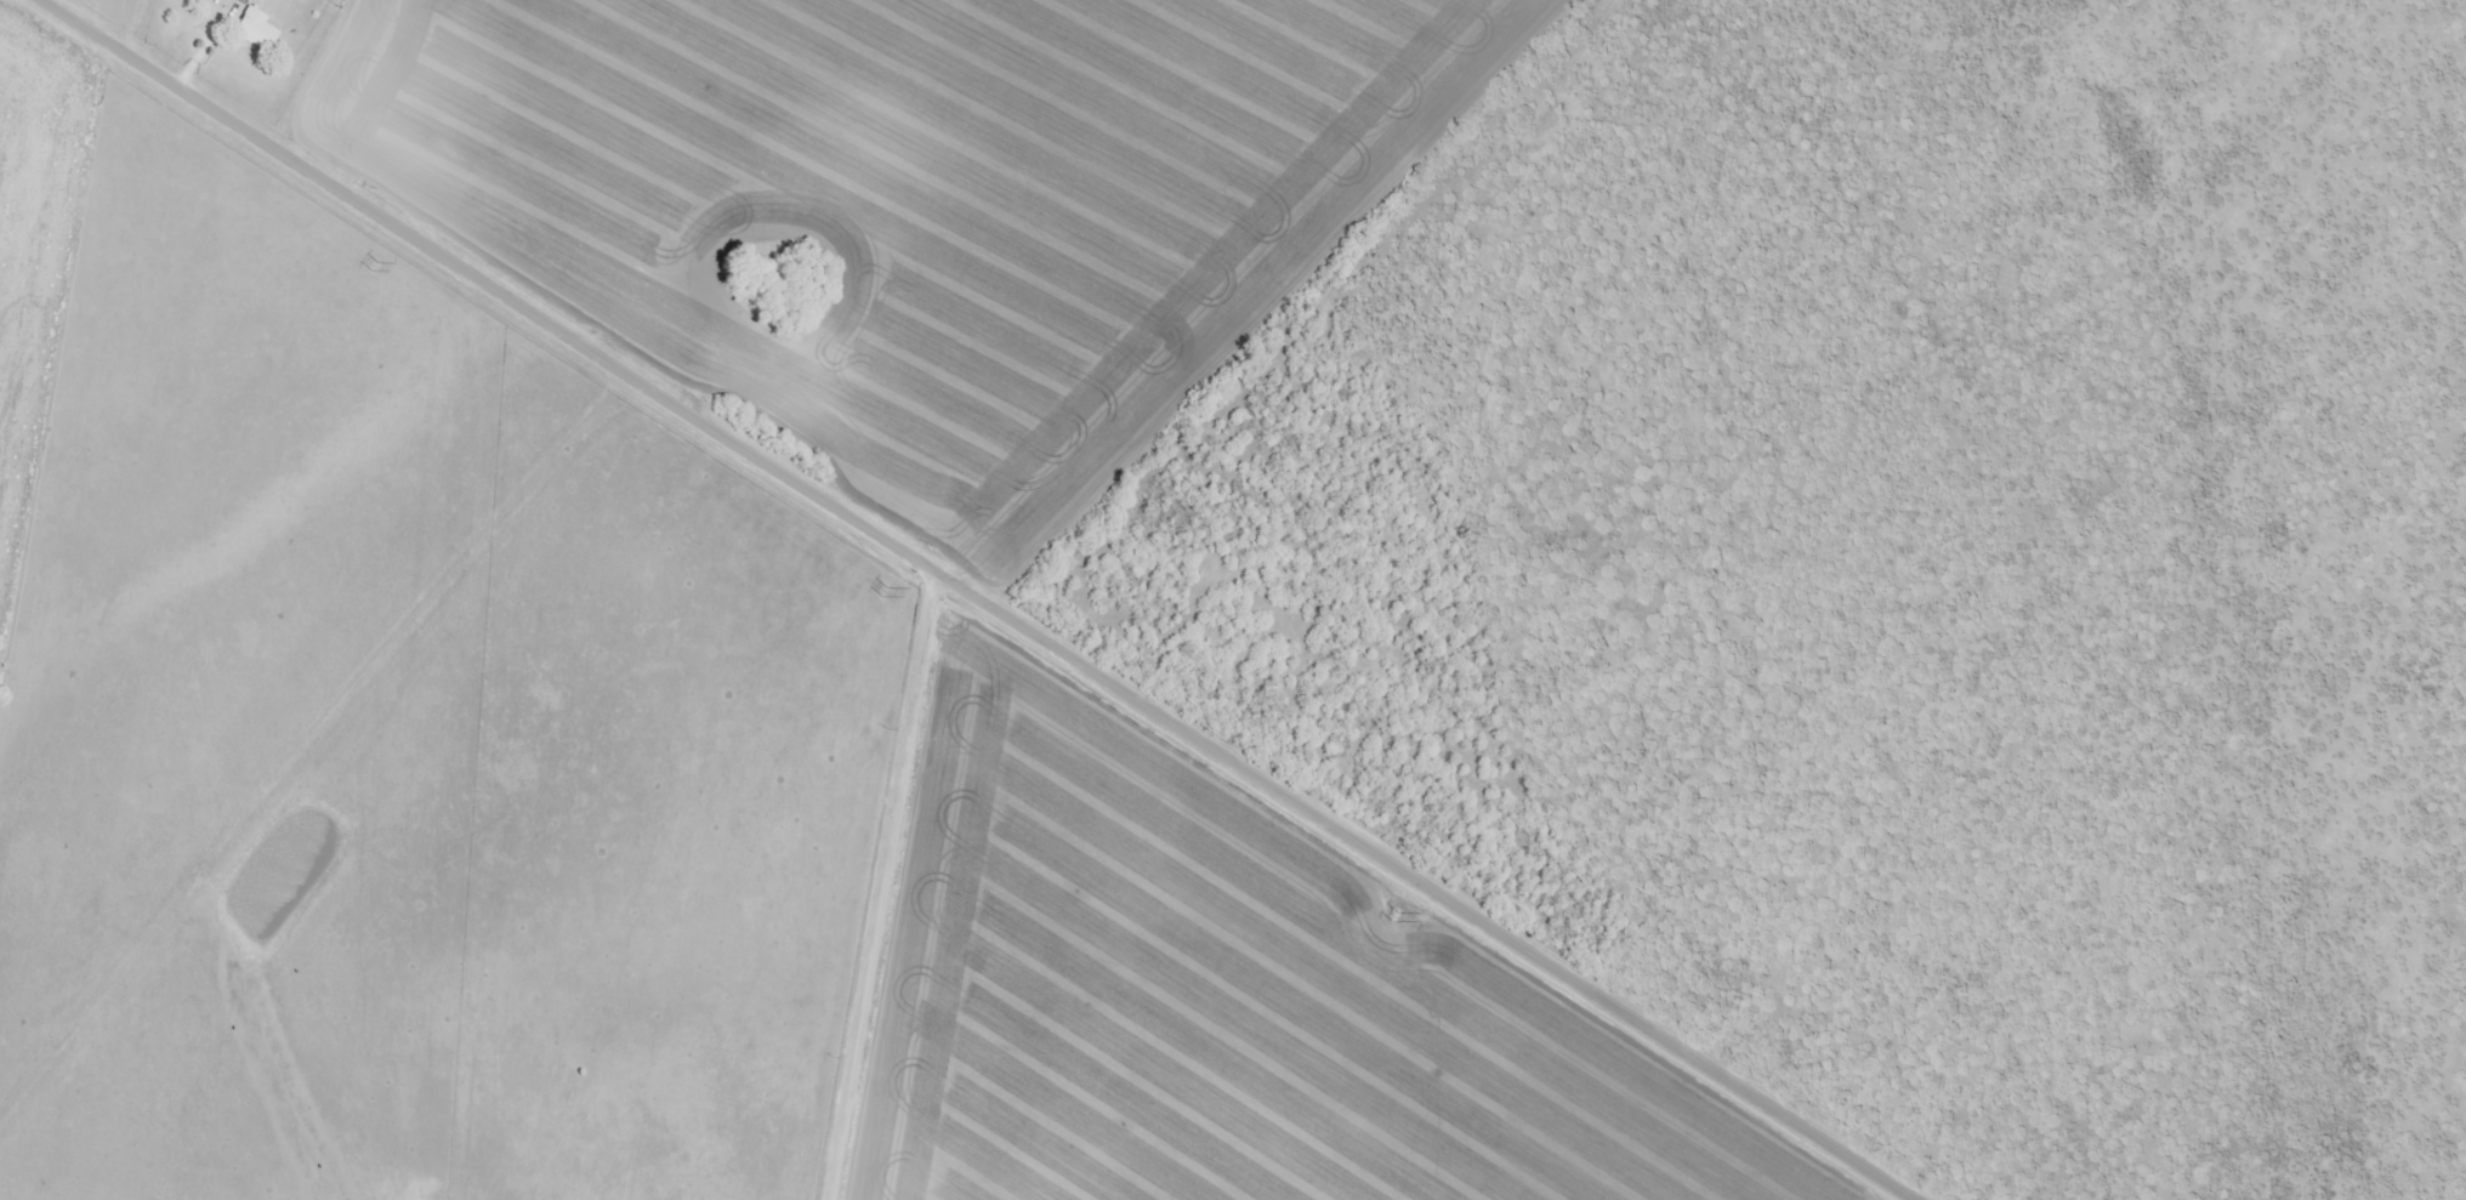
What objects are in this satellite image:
building: (243, 1)
building: (254, 30)
power tower: (375, 266)
road: (515, 284)
power tower: (885, 590)
road: (1438, 886)
road: (859, 899)
power tower: (1394, 921)

